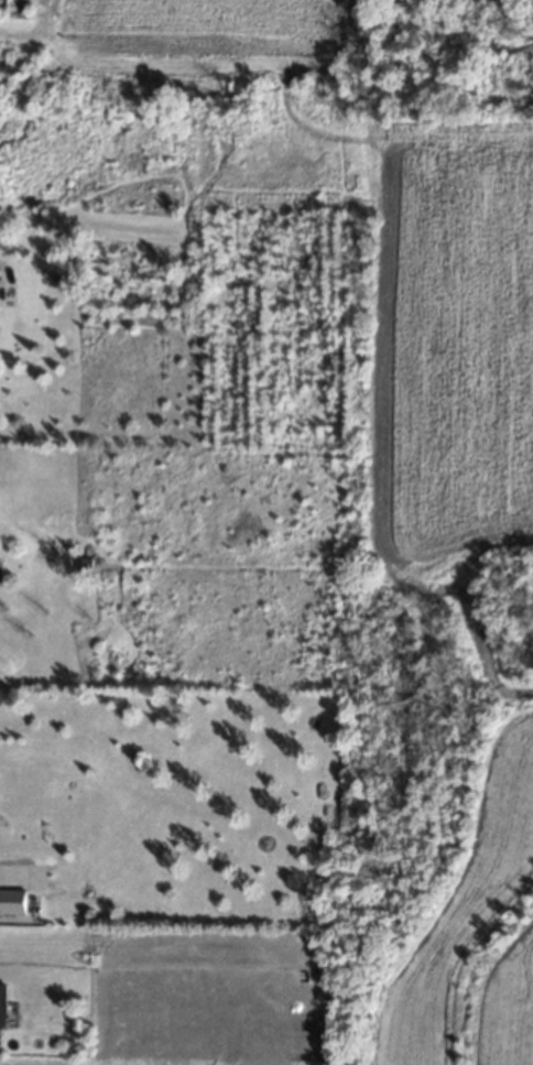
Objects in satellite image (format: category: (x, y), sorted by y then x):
crop: (199, 28)
road: (379, 253)
crop: (449, 344)
building: (12, 903)
crop: (476, 933)
crop: (204, 1001)
building: (2, 1006)

